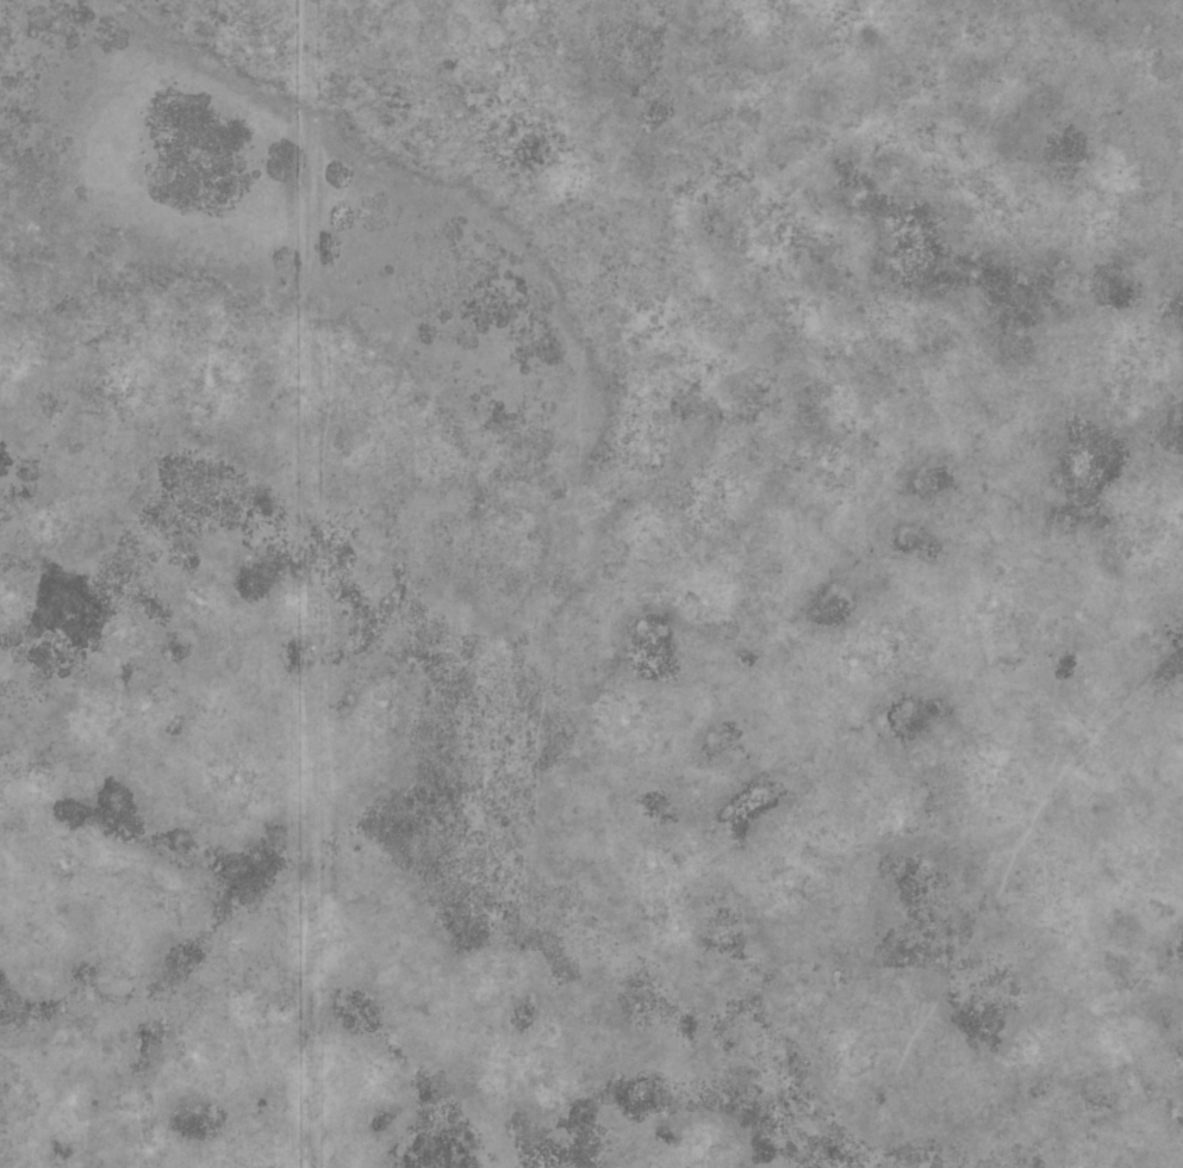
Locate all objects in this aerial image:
road: (186, 1037)

